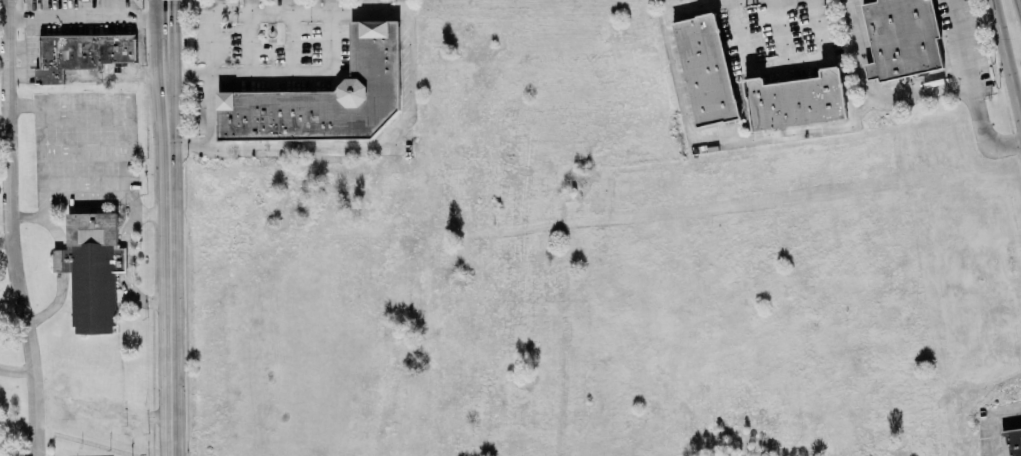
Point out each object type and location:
road: (669, 3)
road: (695, 4)
road: (115, 8)
road: (237, 11)
road: (87, 16)
road: (783, 31)
road: (251, 36)
building: (901, 38)
road: (291, 41)
building: (80, 53)
road: (782, 64)
road: (1004, 65)
building: (704, 70)
road: (282, 72)
road: (972, 88)
road: (871, 96)
building: (325, 97)
building: (794, 100)
road: (5, 132)
road: (724, 143)
road: (188, 145)
road: (371, 147)
road: (85, 149)
road: (49, 165)
road: (121, 168)
road: (85, 186)
road: (150, 213)
road: (169, 227)
road: (12, 228)
road: (6, 240)
road: (59, 261)
building: (91, 270)
building: (0, 322)
road: (16, 371)
road: (988, 419)
building: (1011, 442)

